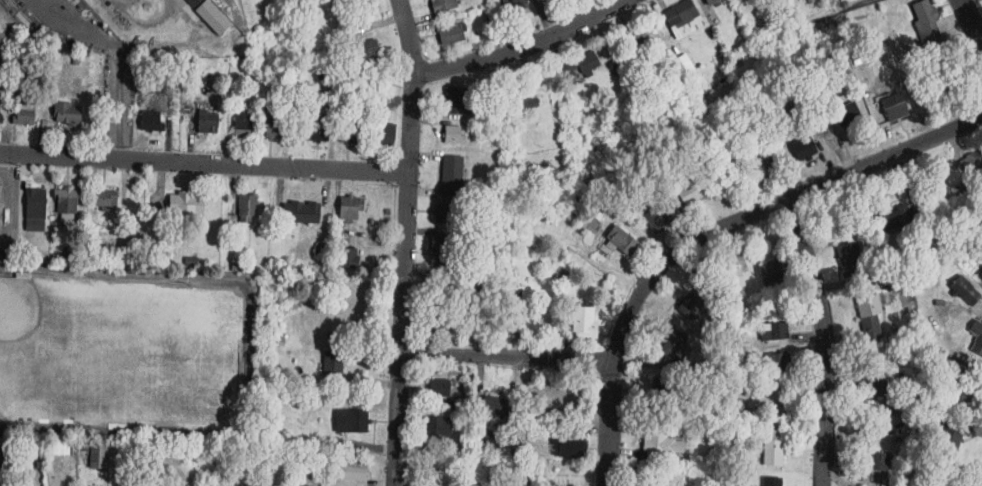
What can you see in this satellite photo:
building: (195, 2)
building: (711, 2)
building: (443, 5)
building: (514, 5)
building: (678, 12)
road: (972, 17)
building: (927, 21)
building: (450, 34)
building: (634, 38)
road: (520, 47)
building: (367, 48)
building: (615, 64)
building: (684, 64)
road: (118, 65)
building: (579, 65)
building: (522, 97)
building: (455, 100)
building: (893, 105)
building: (66, 112)
building: (847, 114)
building: (22, 118)
building: (1, 119)
building: (208, 122)
building: (151, 123)
building: (242, 123)
building: (46, 126)
building: (272, 128)
building: (319, 130)
building: (349, 135)
building: (453, 135)
building: (385, 136)
building: (802, 148)
road: (204, 162)
building: (973, 163)
building: (763, 166)
building: (451, 175)
building: (689, 193)
building: (102, 197)
building: (0, 198)
building: (66, 200)
building: (35, 203)
building: (186, 205)
building: (246, 207)
building: (349, 208)
building: (301, 213)
building: (444, 213)
building: (894, 217)
building: (655, 218)
road: (712, 234)
building: (622, 240)
road: (405, 242)
building: (444, 249)
building: (349, 258)
building: (850, 260)
building: (770, 272)
building: (732, 279)
building: (445, 291)
building: (691, 306)
building: (870, 316)
building: (442, 320)
building: (584, 322)
building: (778, 330)
park: (38, 332)
road: (826, 340)
building: (977, 342)
building: (674, 344)
road: (507, 356)
building: (777, 359)
building: (332, 364)
building: (873, 385)
building: (962, 386)
building: (439, 387)
building: (662, 390)
building: (495, 405)
building: (350, 421)
building: (441, 427)
building: (777, 432)
building: (660, 443)
building: (949, 443)
building: (569, 447)
building: (773, 452)
building: (100, 454)
building: (884, 461)
building: (4, 465)
building: (353, 472)
building: (772, 481)

